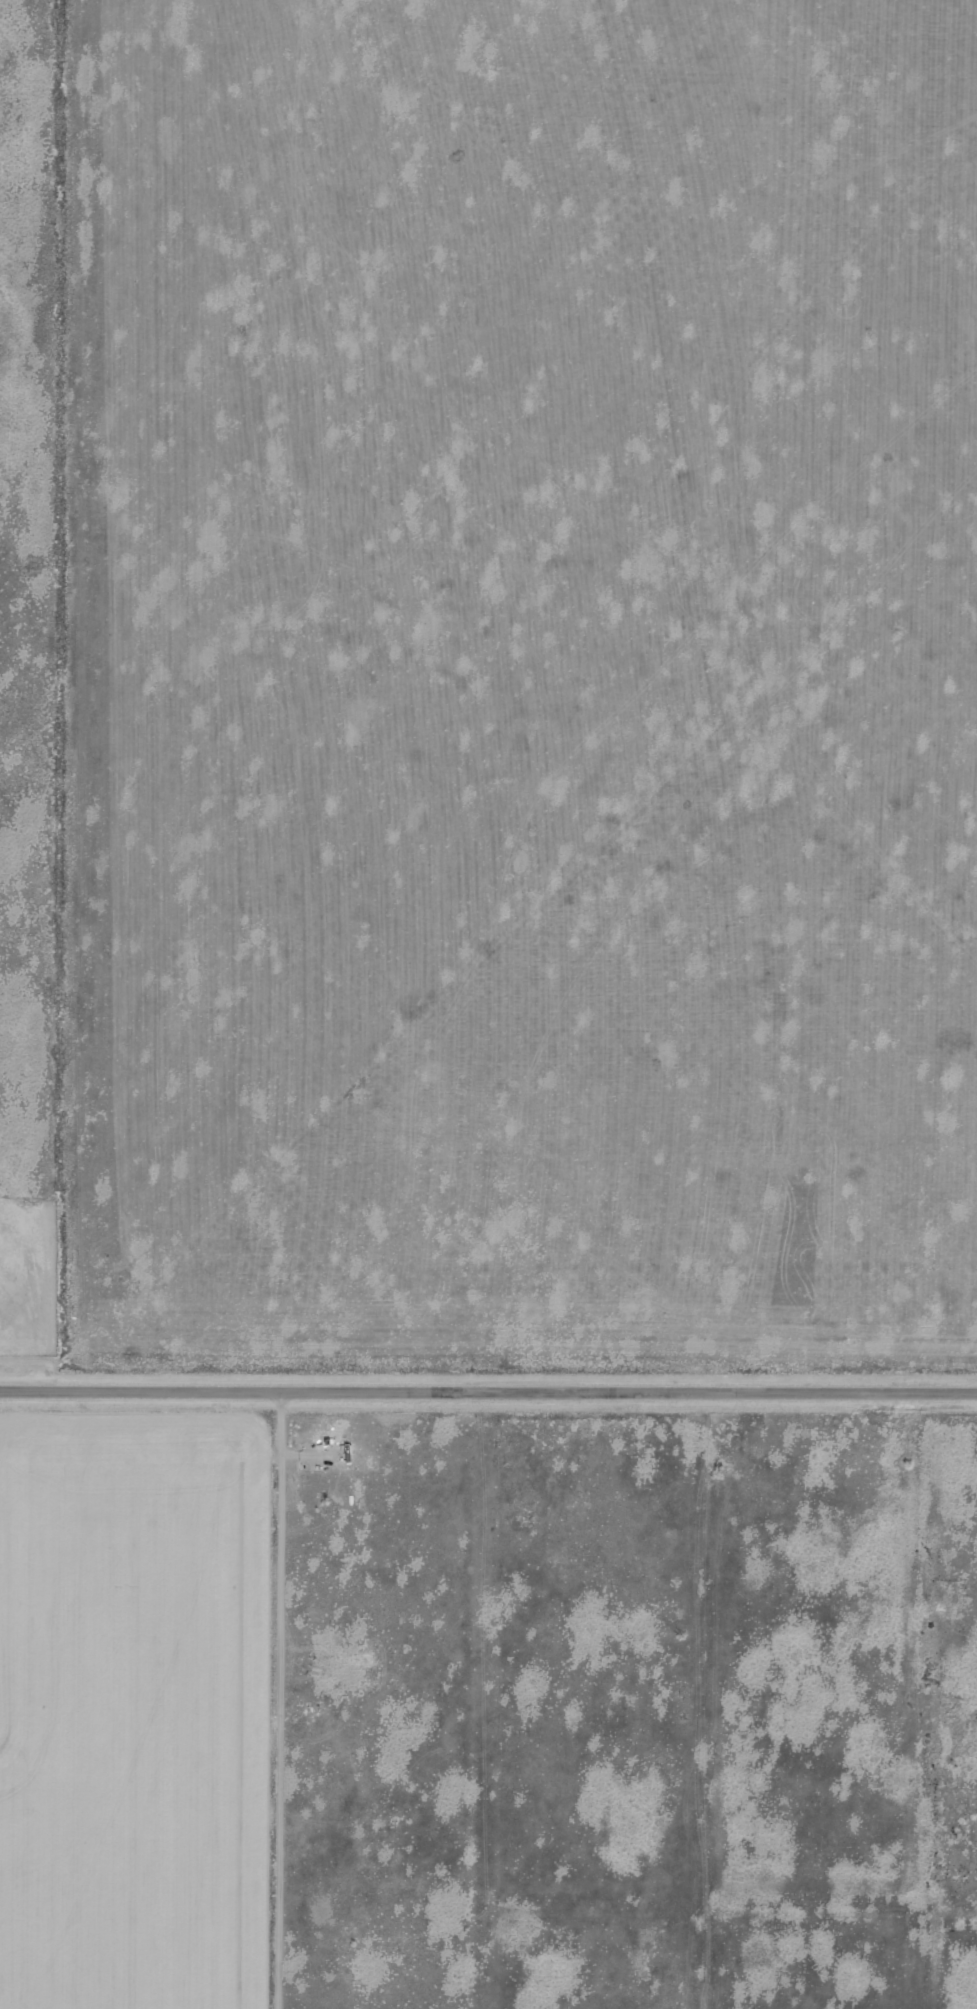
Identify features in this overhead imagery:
road: (488, 1390)
road: (270, 1699)
road: (485, 1699)
road: (697, 1699)
road: (924, 1699)
road: (624, 1901)

